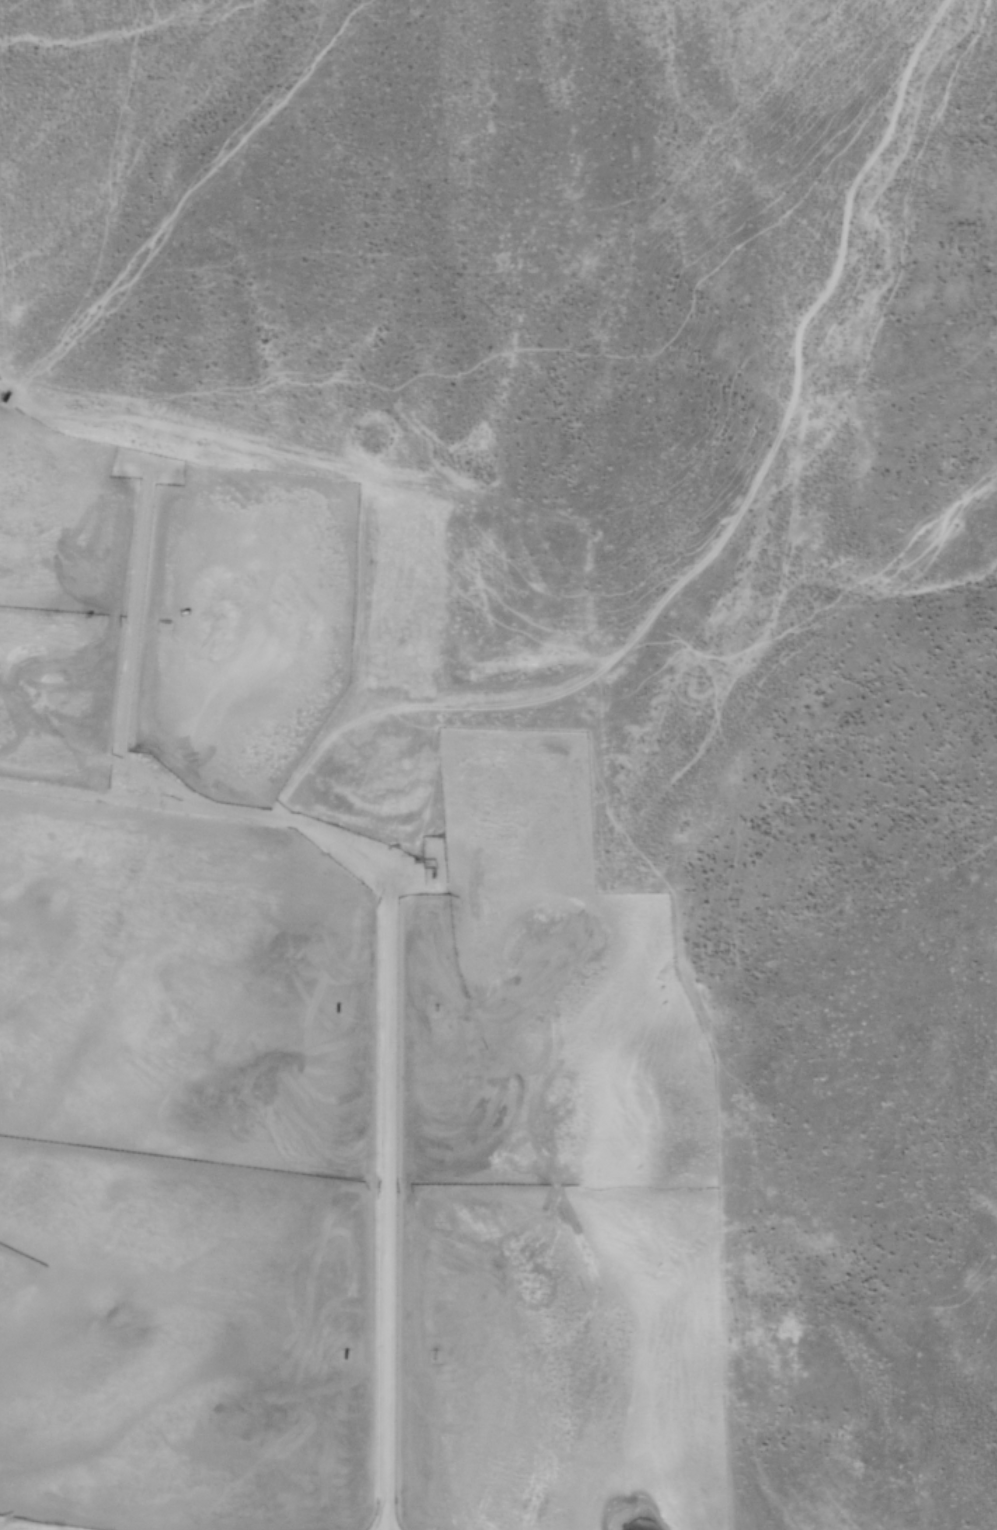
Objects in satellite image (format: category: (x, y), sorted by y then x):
road: (734, 527)
road: (389, 896)
road: (26, 1526)

